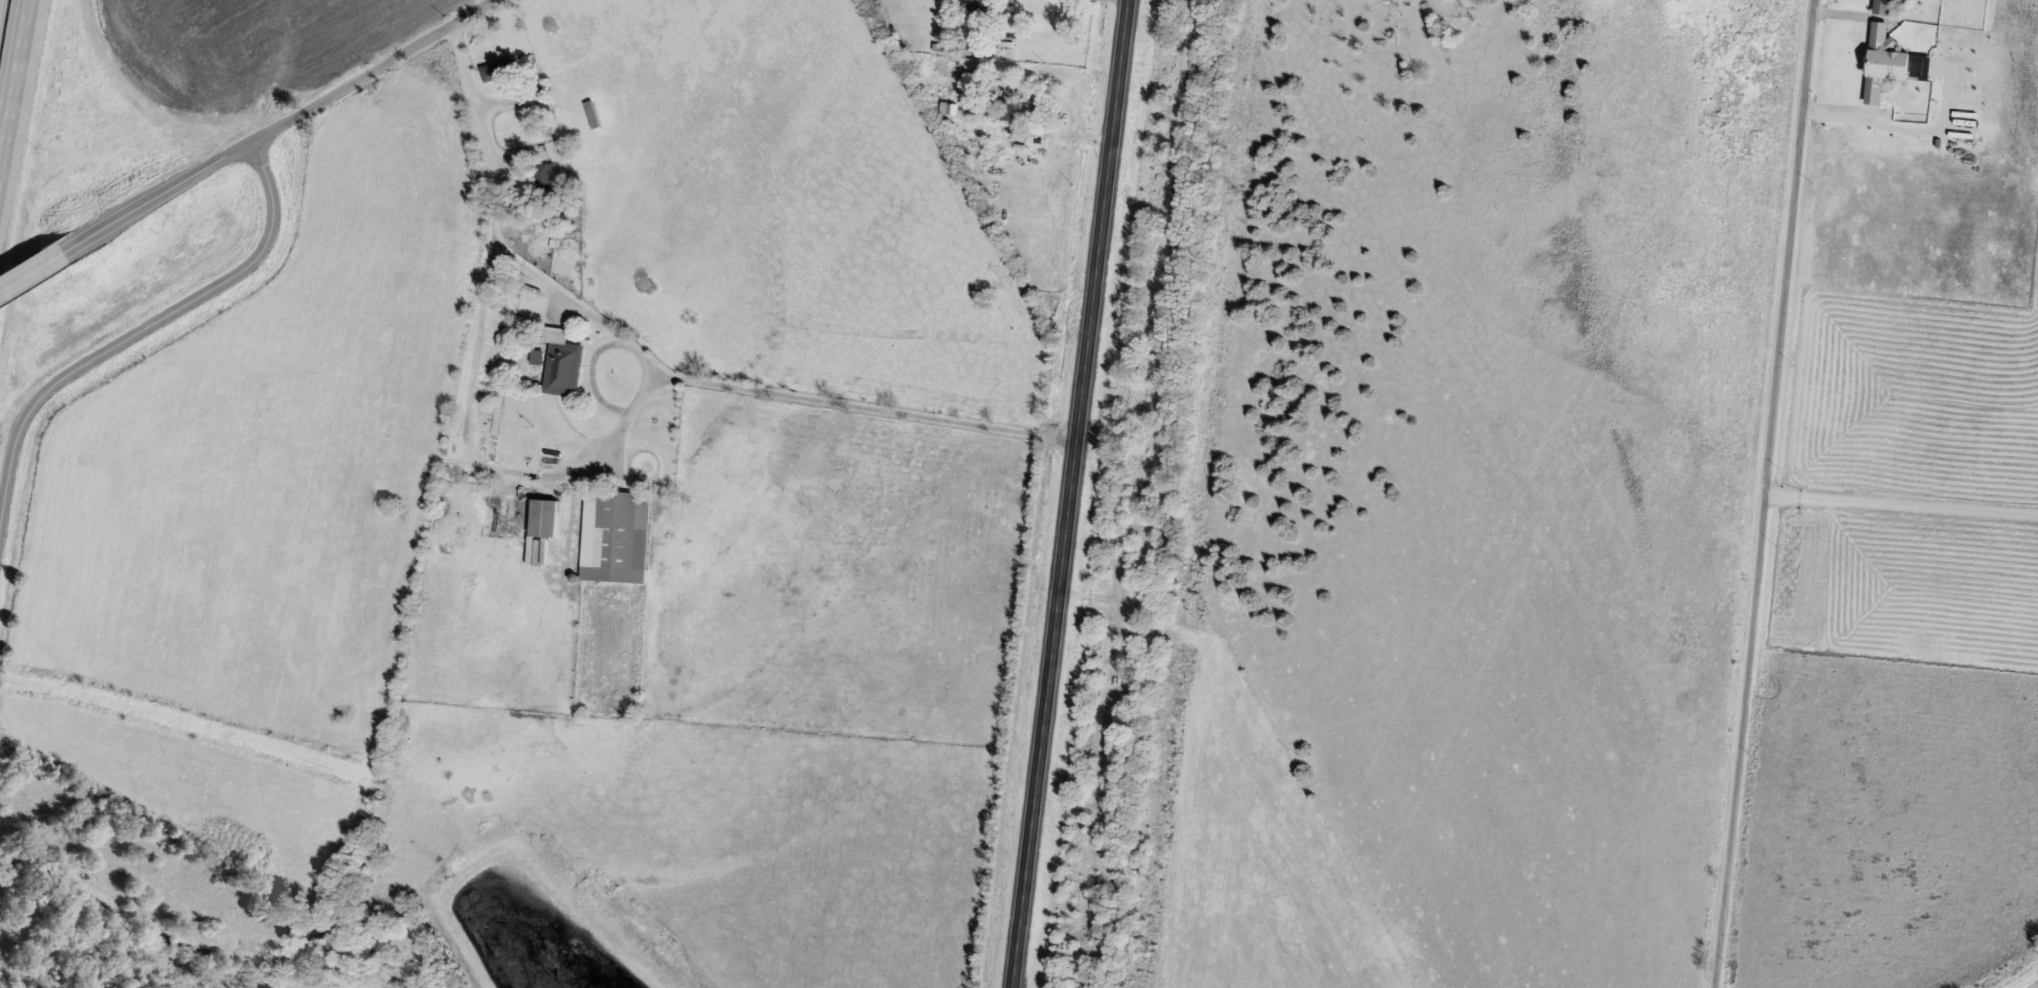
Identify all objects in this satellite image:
building: (979, 6)
building: (1882, 6)
building: (1884, 62)
road: (12, 67)
building: (497, 69)
building: (949, 108)
building: (1015, 110)
road: (476, 111)
building: (592, 114)
road: (276, 124)
road: (1894, 130)
building: (544, 179)
power tower: (1241, 193)
road: (29, 263)
road: (578, 302)
road: (144, 328)
building: (561, 361)
road: (474, 364)
road: (808, 397)
road: (1070, 493)
railway: (1203, 494)
road: (1767, 494)
road: (1902, 506)
building: (544, 518)
building: (615, 537)
power tower: (1197, 571)
power tower: (1152, 949)

